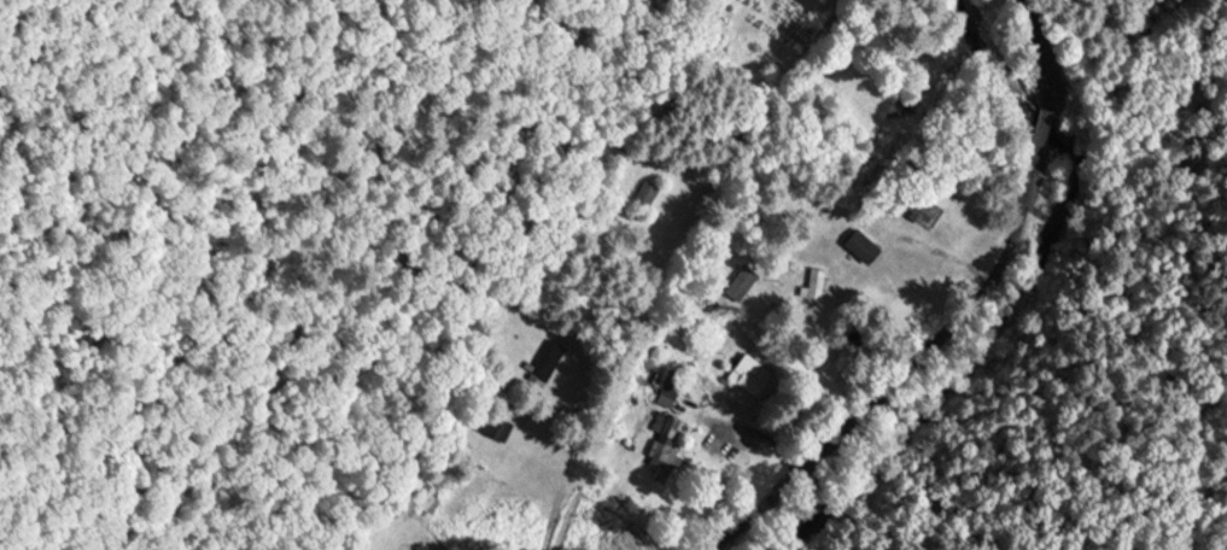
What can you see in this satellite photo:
road: (1046, 49)
road: (1042, 119)
building: (645, 189)
building: (921, 209)
building: (866, 245)
building: (741, 280)
building: (817, 280)
building: (544, 364)
road: (901, 369)
building: (753, 375)
building: (490, 421)
building: (665, 447)
road: (582, 473)
building: (423, 493)
building: (614, 533)

